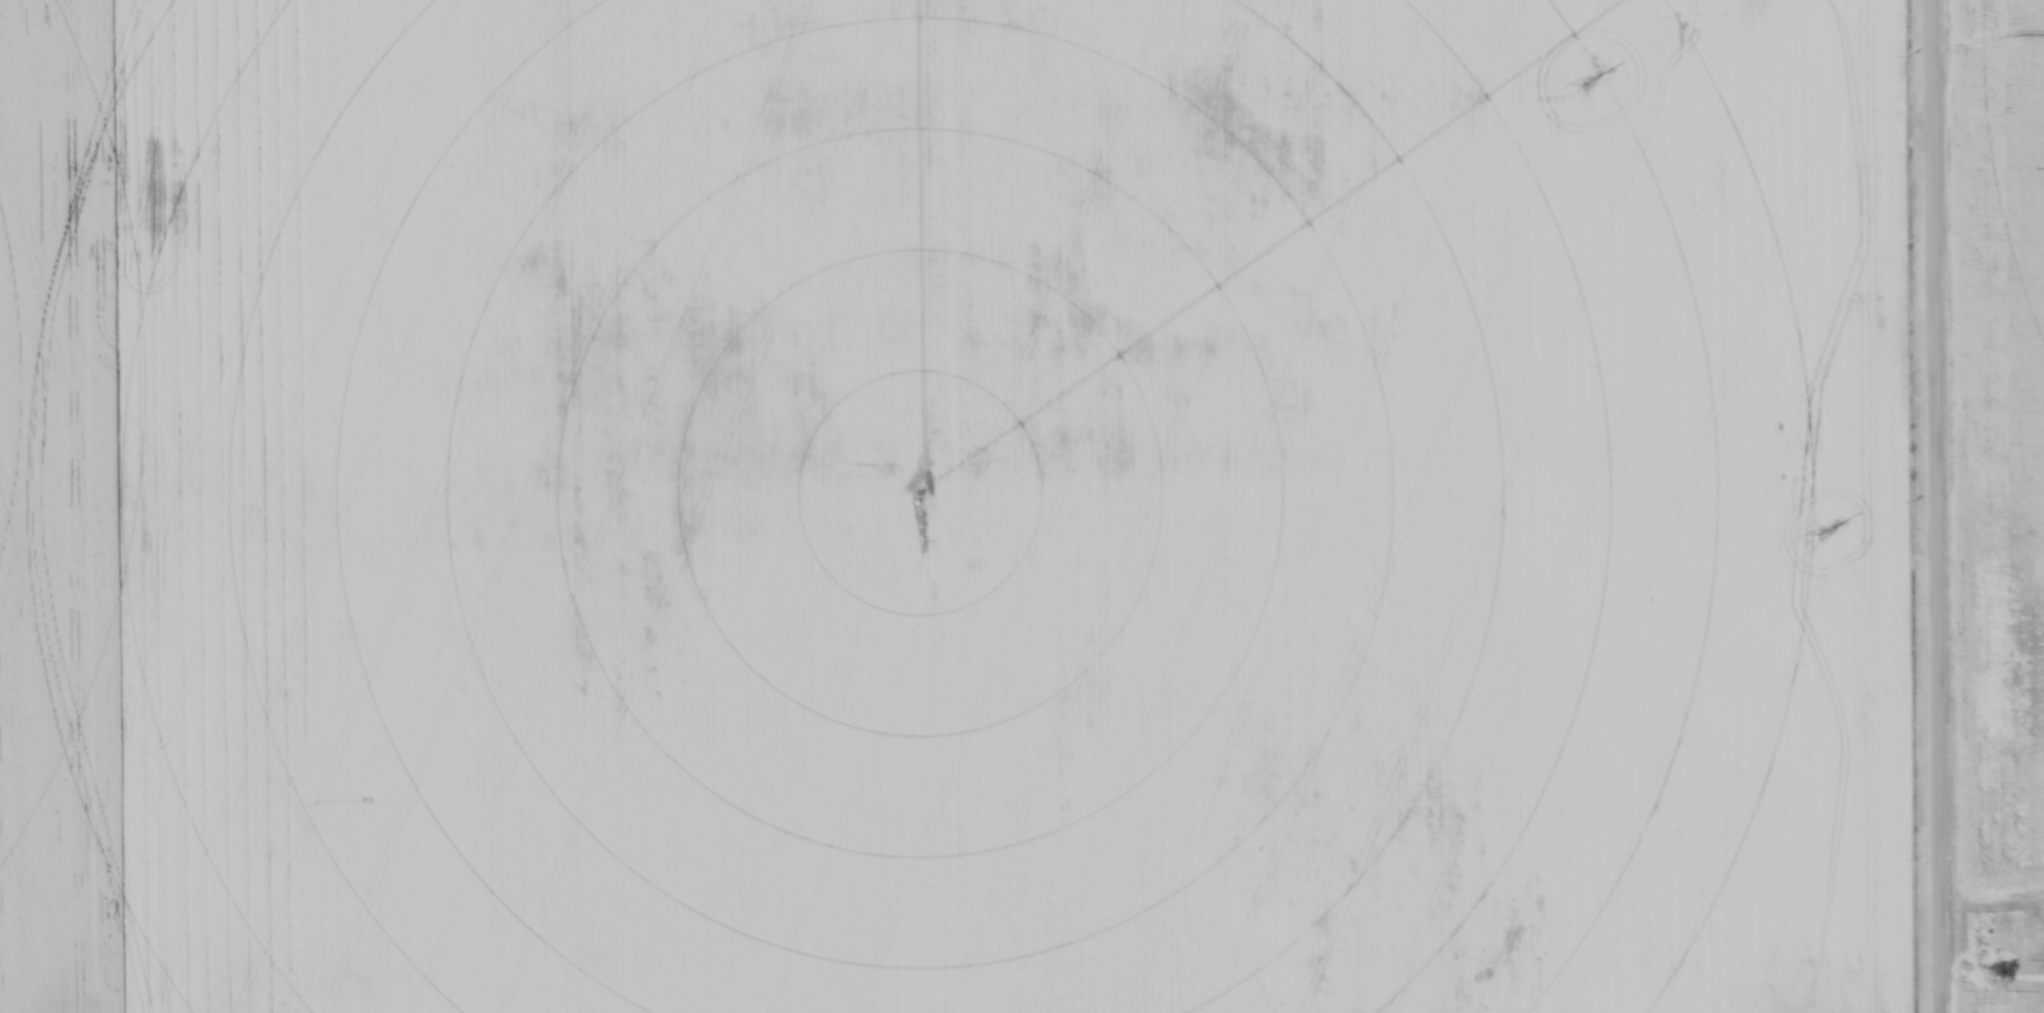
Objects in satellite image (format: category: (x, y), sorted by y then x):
power tower: (1588, 81)
road: (1936, 506)
power tower: (1824, 533)

